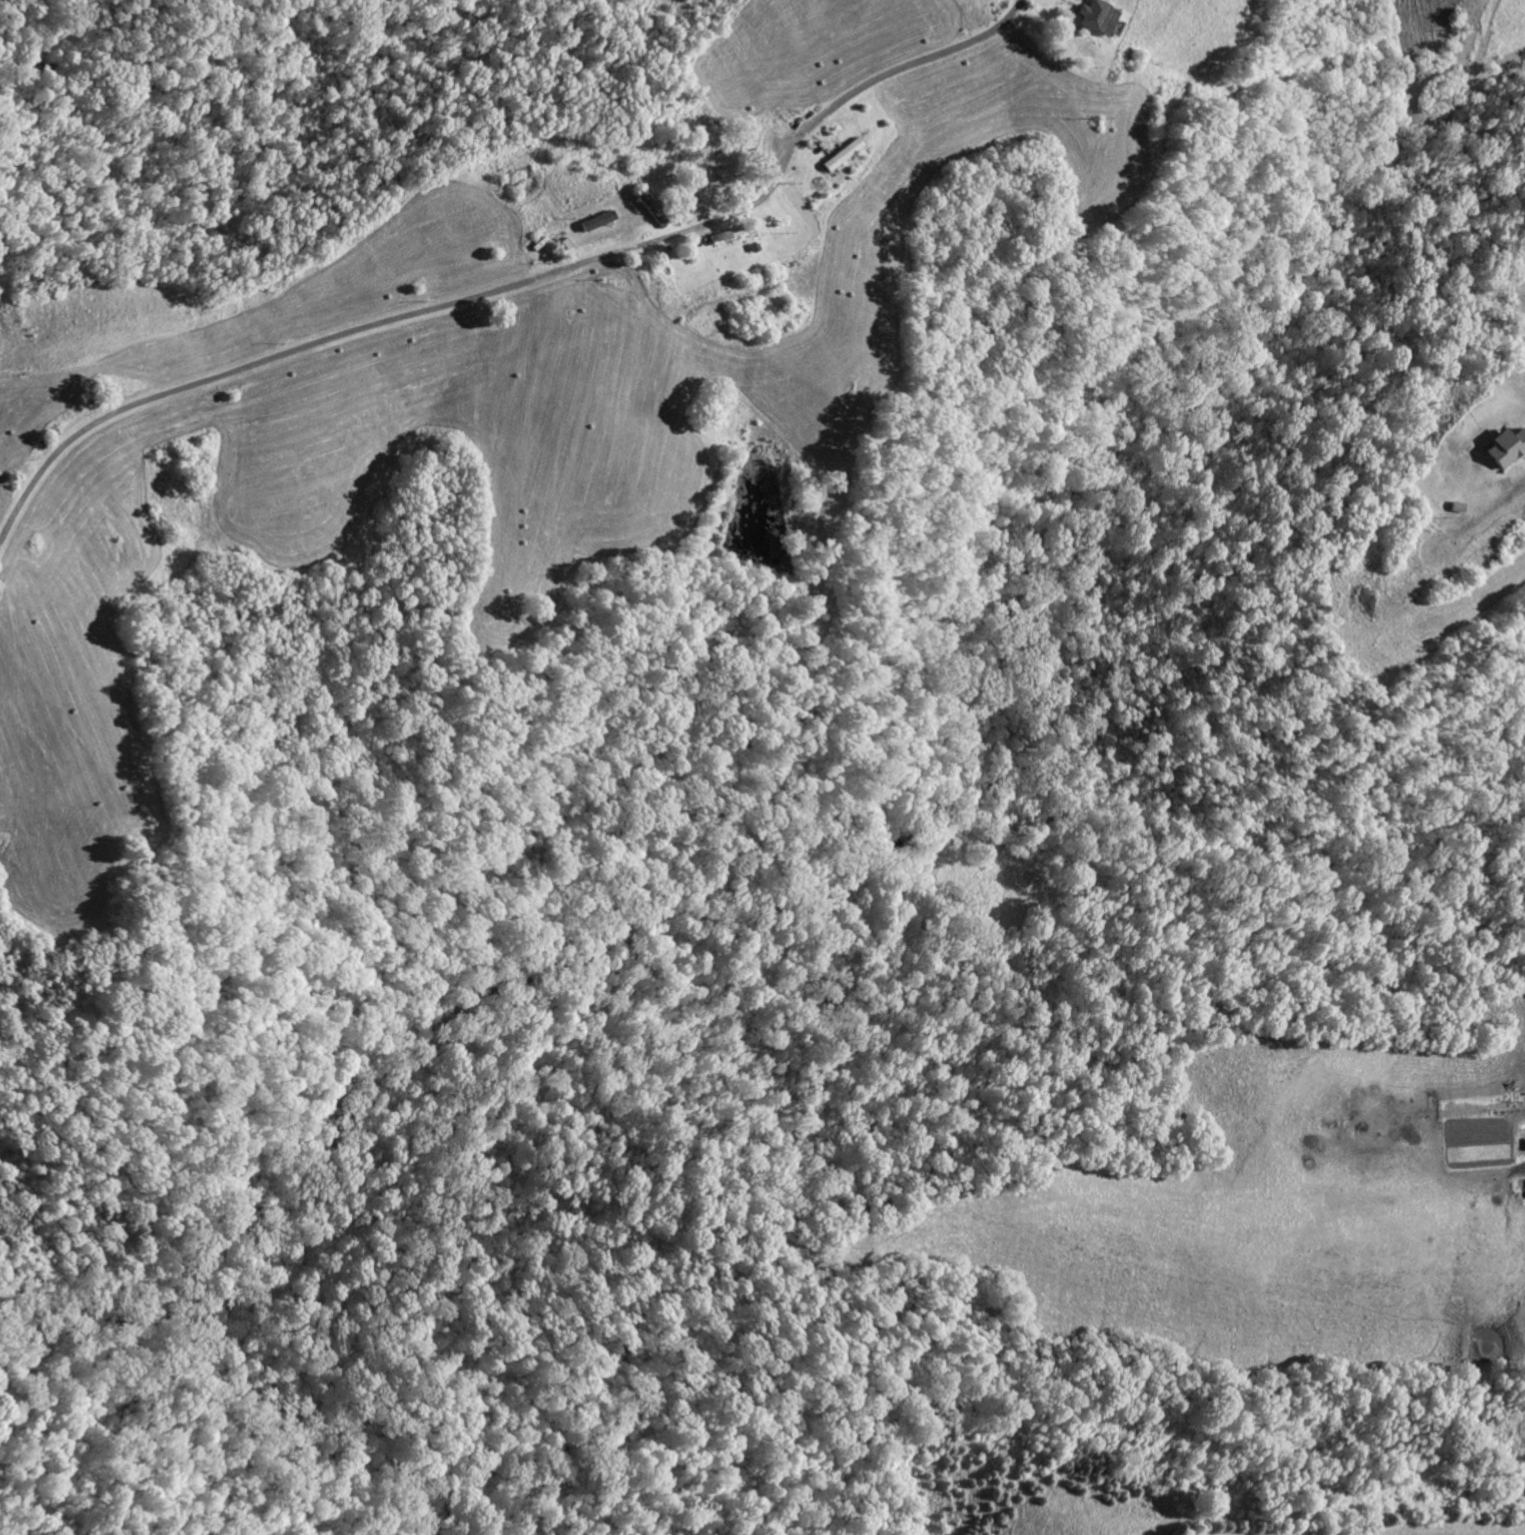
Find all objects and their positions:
building: (1090, 14)
road: (868, 73)
building: (835, 152)
building: (1504, 444)

